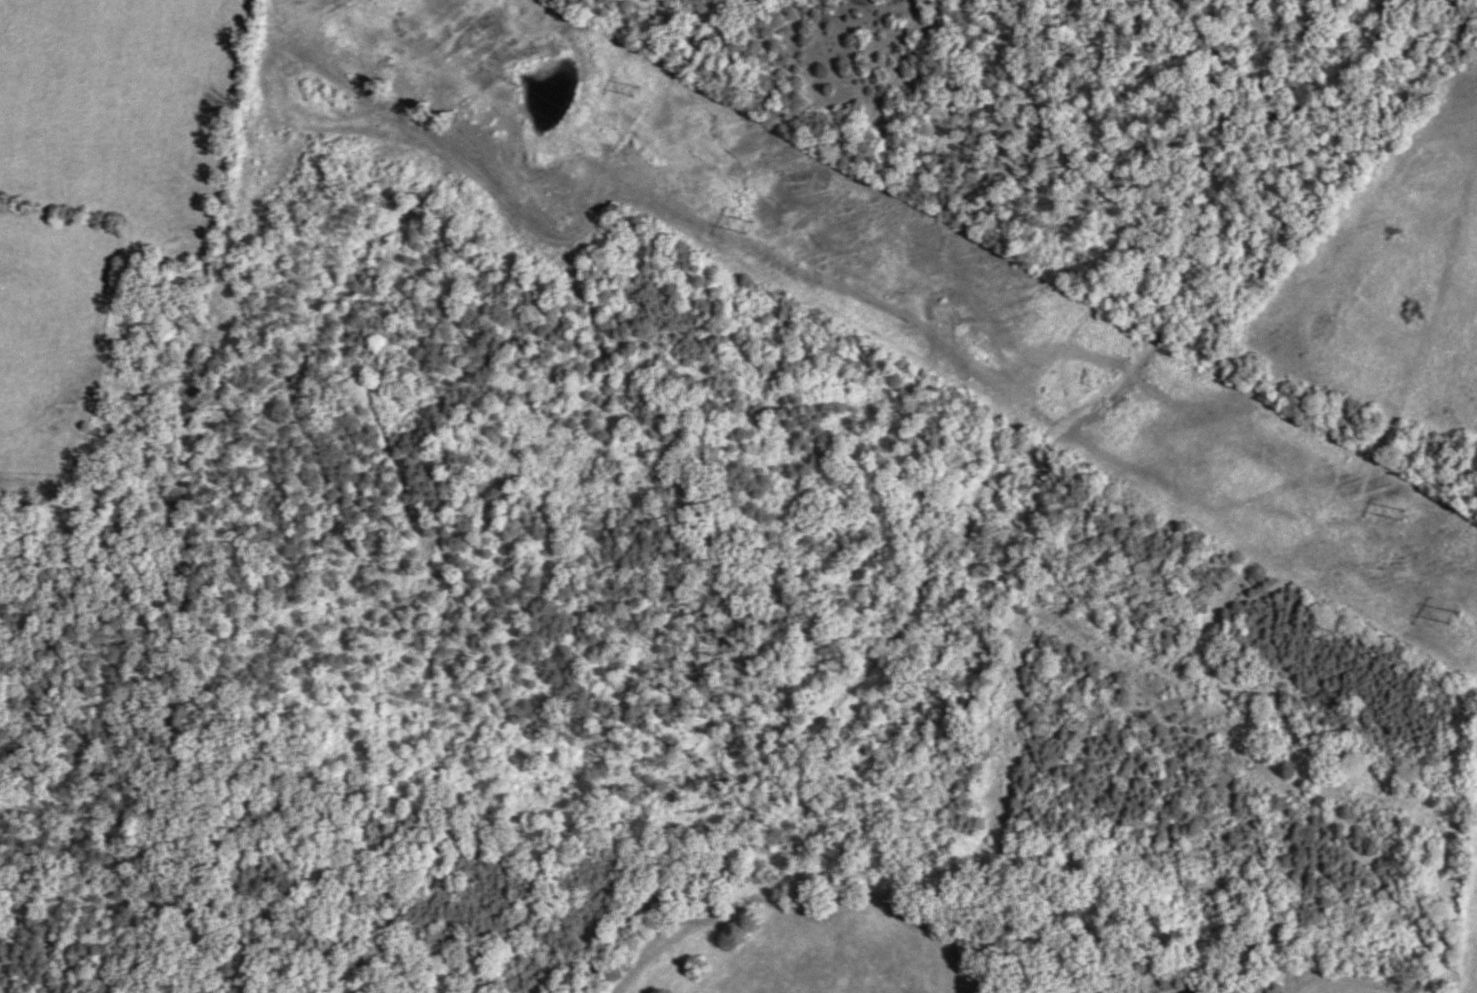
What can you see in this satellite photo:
power tower: (748, 224)
power tower: (1454, 614)

